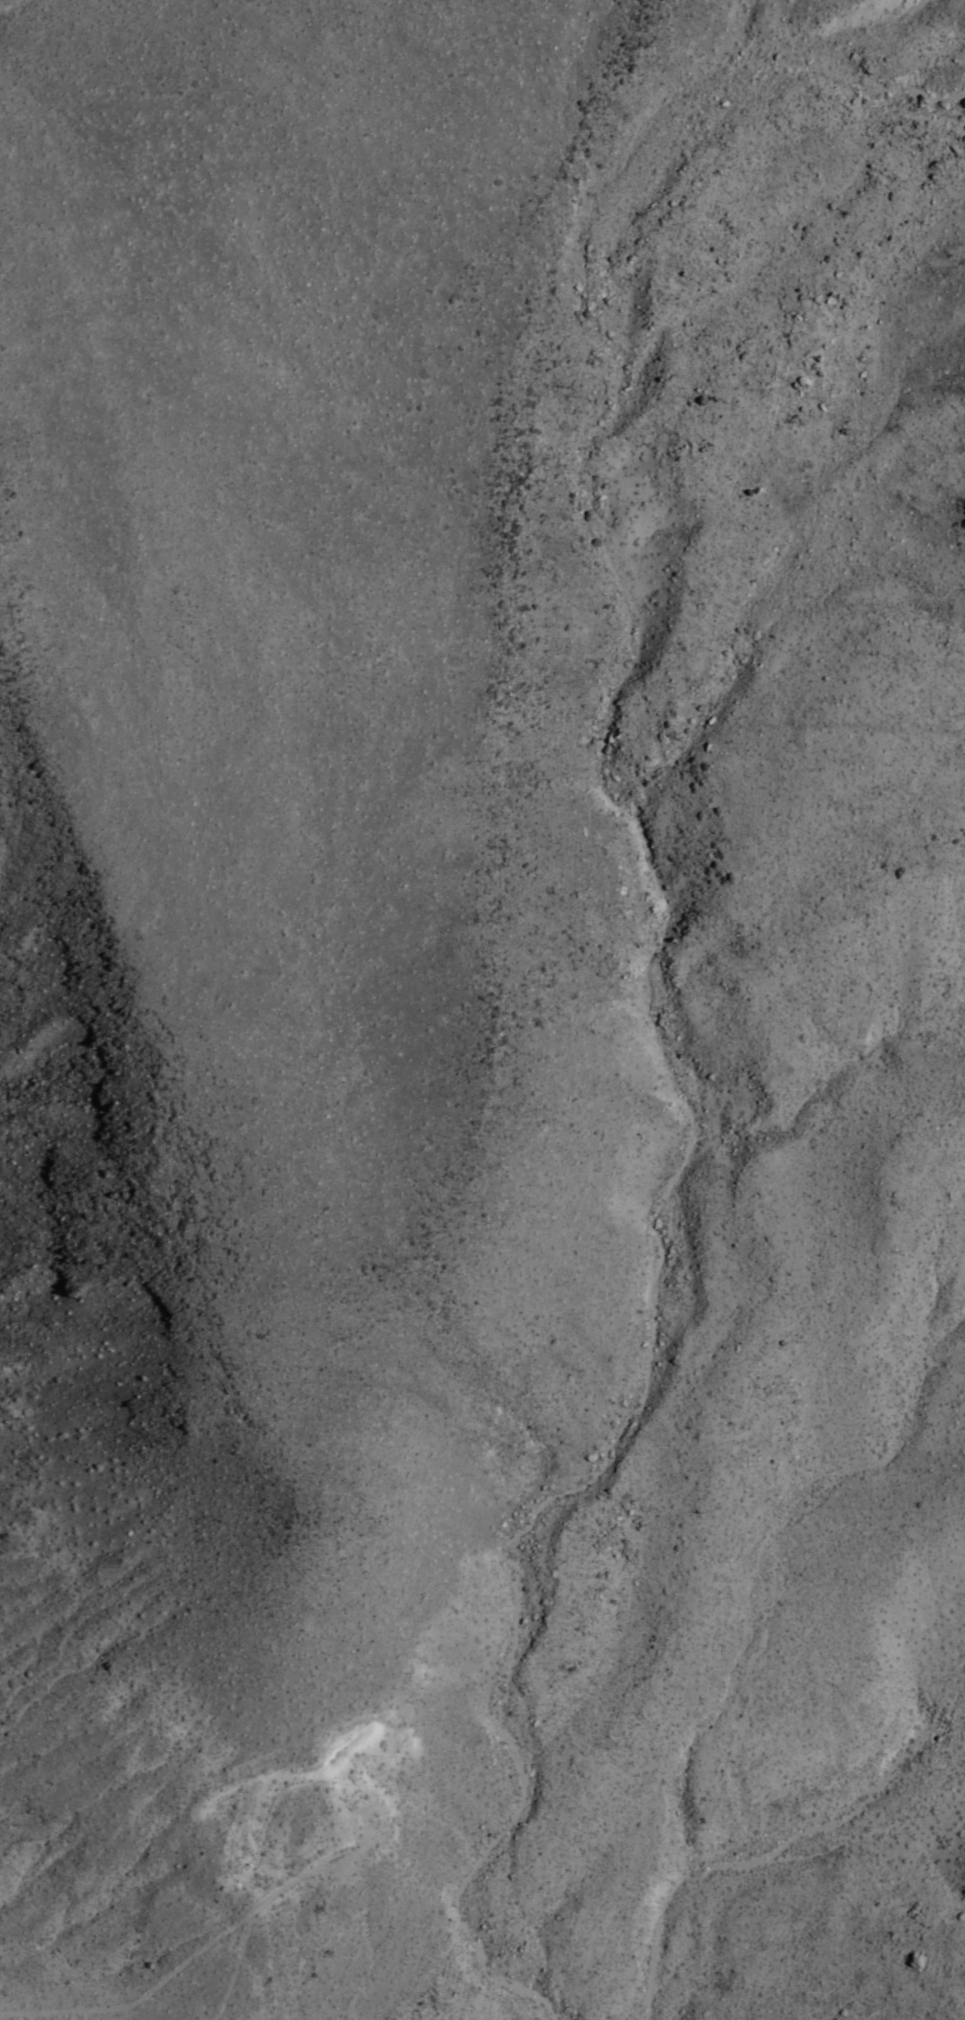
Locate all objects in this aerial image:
road: (183, 1984)

